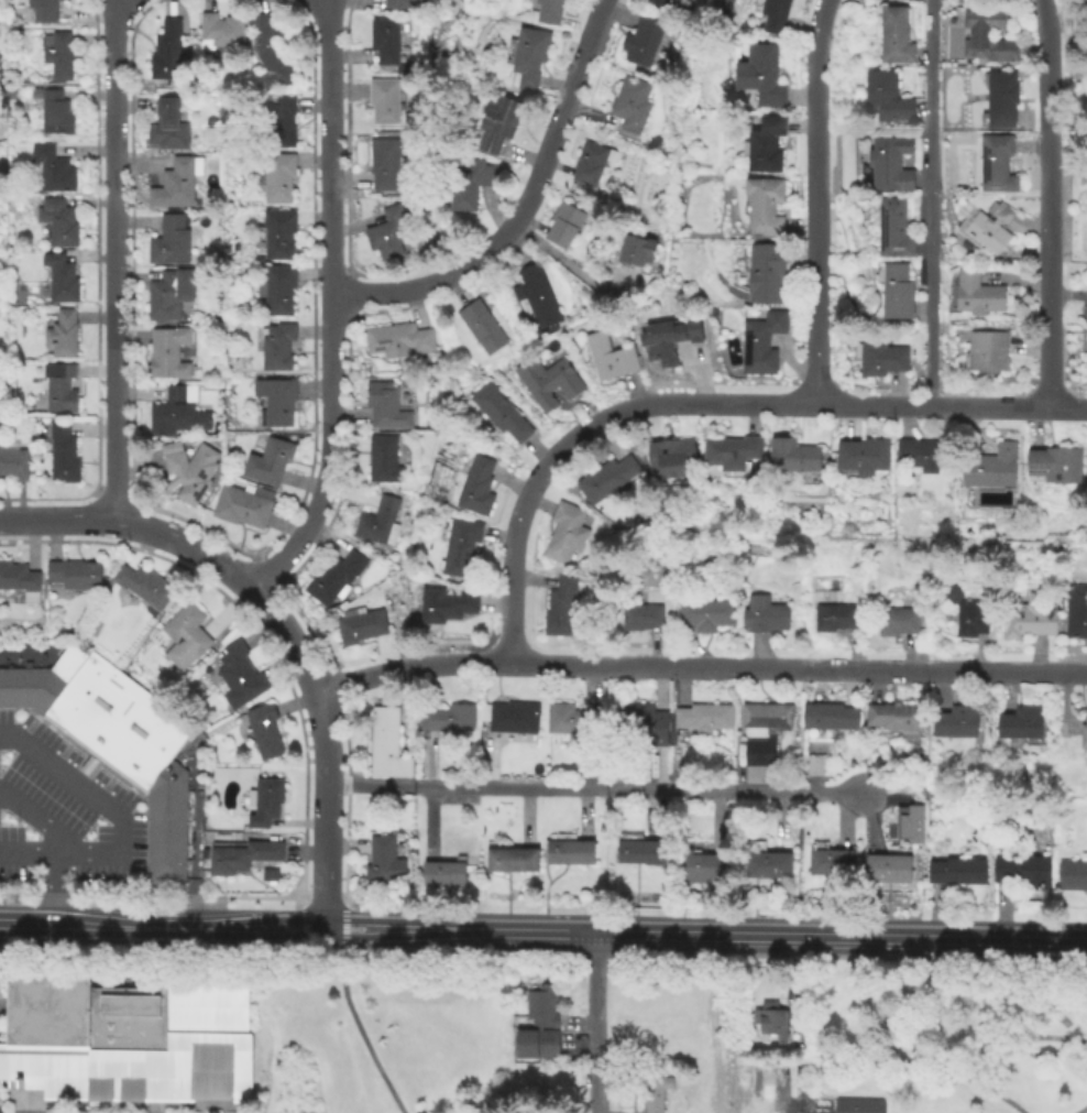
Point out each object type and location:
building: (397, 4)
building: (670, 6)
building: (43, 11)
building: (548, 12)
building: (772, 17)
building: (220, 32)
building: (893, 37)
building: (987, 39)
building: (383, 42)
building: (640, 43)
building: (165, 53)
building: (267, 55)
building: (56, 56)
building: (528, 57)
building: (1086, 67)
building: (759, 77)
building: (885, 100)
building: (383, 101)
building: (1000, 101)
building: (629, 107)
building: (52, 113)
building: (497, 124)
building: (281, 126)
building: (165, 129)
road: (345, 143)
road: (329, 146)
building: (762, 148)
building: (383, 165)
building: (589, 165)
building: (889, 165)
building: (995, 165)
building: (48, 171)
building: (275, 178)
building: (468, 183)
building: (175, 184)
road: (815, 200)
road: (926, 203)
road: (1052, 203)
building: (762, 207)
road: (524, 208)
building: (56, 222)
building: (562, 223)
building: (984, 228)
building: (891, 230)
building: (276, 233)
building: (386, 234)
road: (520, 237)
building: (1, 239)
building: (168, 241)
building: (636, 251)
road: (116, 260)
road: (569, 268)
building: (764, 275)
building: (59, 279)
building: (276, 291)
road: (96, 292)
building: (894, 294)
road: (349, 295)
building: (536, 295)
building: (163, 296)
building: (976, 296)
building: (481, 328)
building: (61, 335)
building: (397, 341)
building: (673, 341)
building: (759, 343)
building: (275, 348)
building: (986, 352)
building: (166, 353)
building: (607, 359)
building: (880, 360)
building: (546, 382)
building: (433, 385)
building: (58, 389)
road: (703, 401)
building: (274, 403)
building: (384, 407)
building: (498, 413)
building: (176, 414)
road: (345, 425)
building: (729, 454)
building: (62, 455)
road: (332, 455)
building: (915, 455)
building: (791, 458)
building: (860, 458)
building: (382, 460)
building: (271, 461)
building: (669, 461)
building: (13, 462)
building: (1053, 467)
building: (990, 468)
building: (187, 472)
building: (605, 481)
building: (475, 489)
road: (112, 493)
building: (241, 508)
building: (377, 524)
building: (845, 528)
building: (563, 535)
road: (228, 545)
building: (458, 547)
road: (265, 572)
building: (74, 576)
building: (334, 579)
building: (19, 582)
building: (144, 588)
building: (951, 597)
building: (443, 607)
building: (558, 609)
road: (274, 613)
building: (1075, 613)
building: (704, 615)
building: (762, 616)
building: (639, 619)
building: (833, 620)
building: (1026, 620)
building: (969, 621)
building: (894, 624)
building: (359, 628)
building: (185, 639)
road: (24, 653)
road: (319, 654)
road: (699, 664)
building: (238, 678)
road: (338, 684)
building: (6, 686)
building: (34, 686)
road: (12, 714)
building: (112, 717)
building: (765, 719)
building: (891, 719)
building: (449, 720)
building: (702, 720)
building: (509, 721)
road: (30, 723)
building: (564, 723)
road: (45, 724)
building: (641, 725)
building: (953, 725)
building: (1020, 727)
building: (263, 733)
building: (822, 734)
building: (1083, 734)
building: (385, 746)
road: (64, 749)
building: (757, 753)
road: (91, 759)
road: (303, 761)
street lamp: (2, 763)
road: (108, 782)
road: (595, 787)
building: (167, 799)
road: (345, 803)
building: (263, 804)
parking lot: (63, 810)
road: (136, 810)
road: (34, 817)
road: (118, 818)
road: (143, 818)
street lamp: (17, 819)
building: (654, 823)
building: (908, 825)
street lamp: (90, 830)
building: (165, 840)
road: (194, 840)
building: (637, 852)
building: (567, 854)
building: (165, 855)
building: (234, 859)
building: (510, 862)
building: (830, 863)
building: (383, 864)
building: (765, 864)
road: (135, 866)
street lamp: (33, 869)
building: (703, 869)
building: (886, 870)
building: (165, 872)
building: (1020, 872)
building: (956, 873)
building: (442, 875)
building: (1070, 877)
road: (52, 886)
street lamp: (149, 891)
road: (300, 893)
road: (298, 898)
road: (345, 903)
road: (314, 905)
road: (334, 905)
road: (564, 909)
road: (326, 912)
road: (307, 918)
road: (343, 919)
road: (9, 921)
road: (282, 921)
road: (105, 923)
road: (371, 923)
road: (234, 925)
road: (325, 927)
road: (426, 927)
road: (343, 928)
road: (282, 930)
road: (303, 930)
road: (370, 931)
road: (779, 932)
road: (306, 936)
road: (342, 937)
road: (171, 948)
road: (888, 950)
road: (462, 953)
road: (636, 953)
road: (96, 967)
building: (538, 1007)
building: (772, 1021)
road: (592, 1022)
park: (262, 1033)
road: (361, 1035)
park: (879, 1035)
building: (128, 1037)
building: (535, 1045)
road: (995, 1052)
building: (652, 1093)
building: (861, 1105)
road: (1080, 1109)

